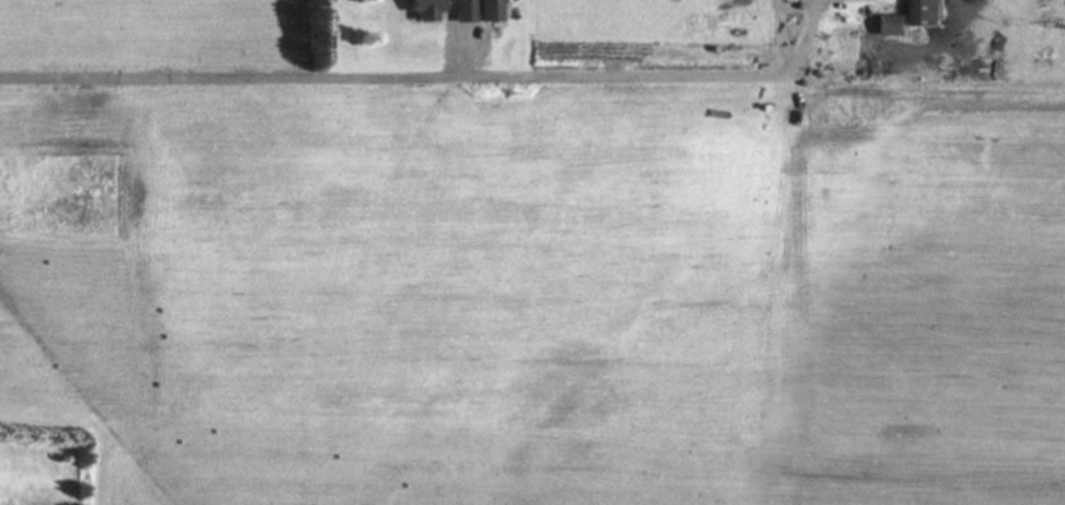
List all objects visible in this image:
building: (423, 11)
building: (476, 11)
building: (920, 13)

